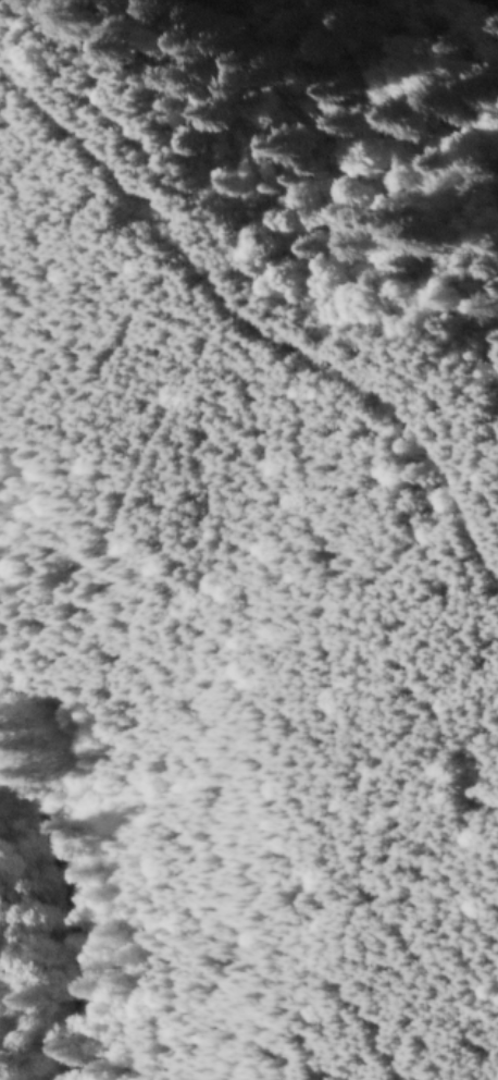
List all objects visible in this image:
railway: (451, 37)

